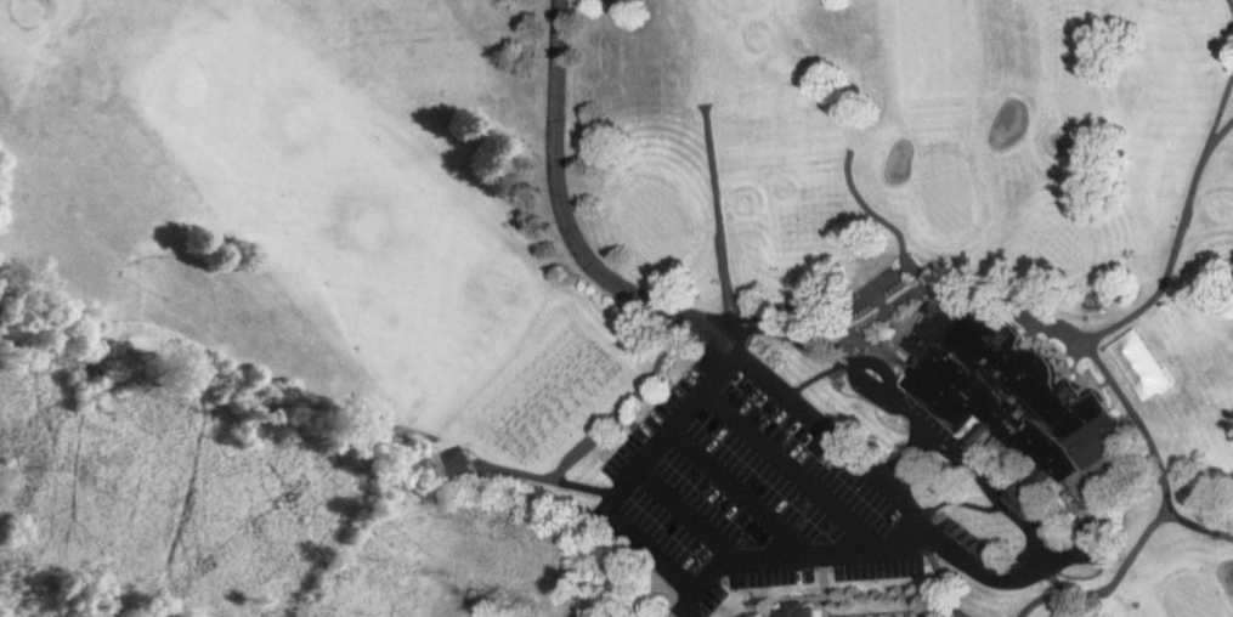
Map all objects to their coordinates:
road: (565, 211)
park: (683, 273)
building: (1023, 407)
building: (457, 466)
parking lot: (786, 466)
road: (788, 475)
road: (921, 542)
building: (802, 612)

